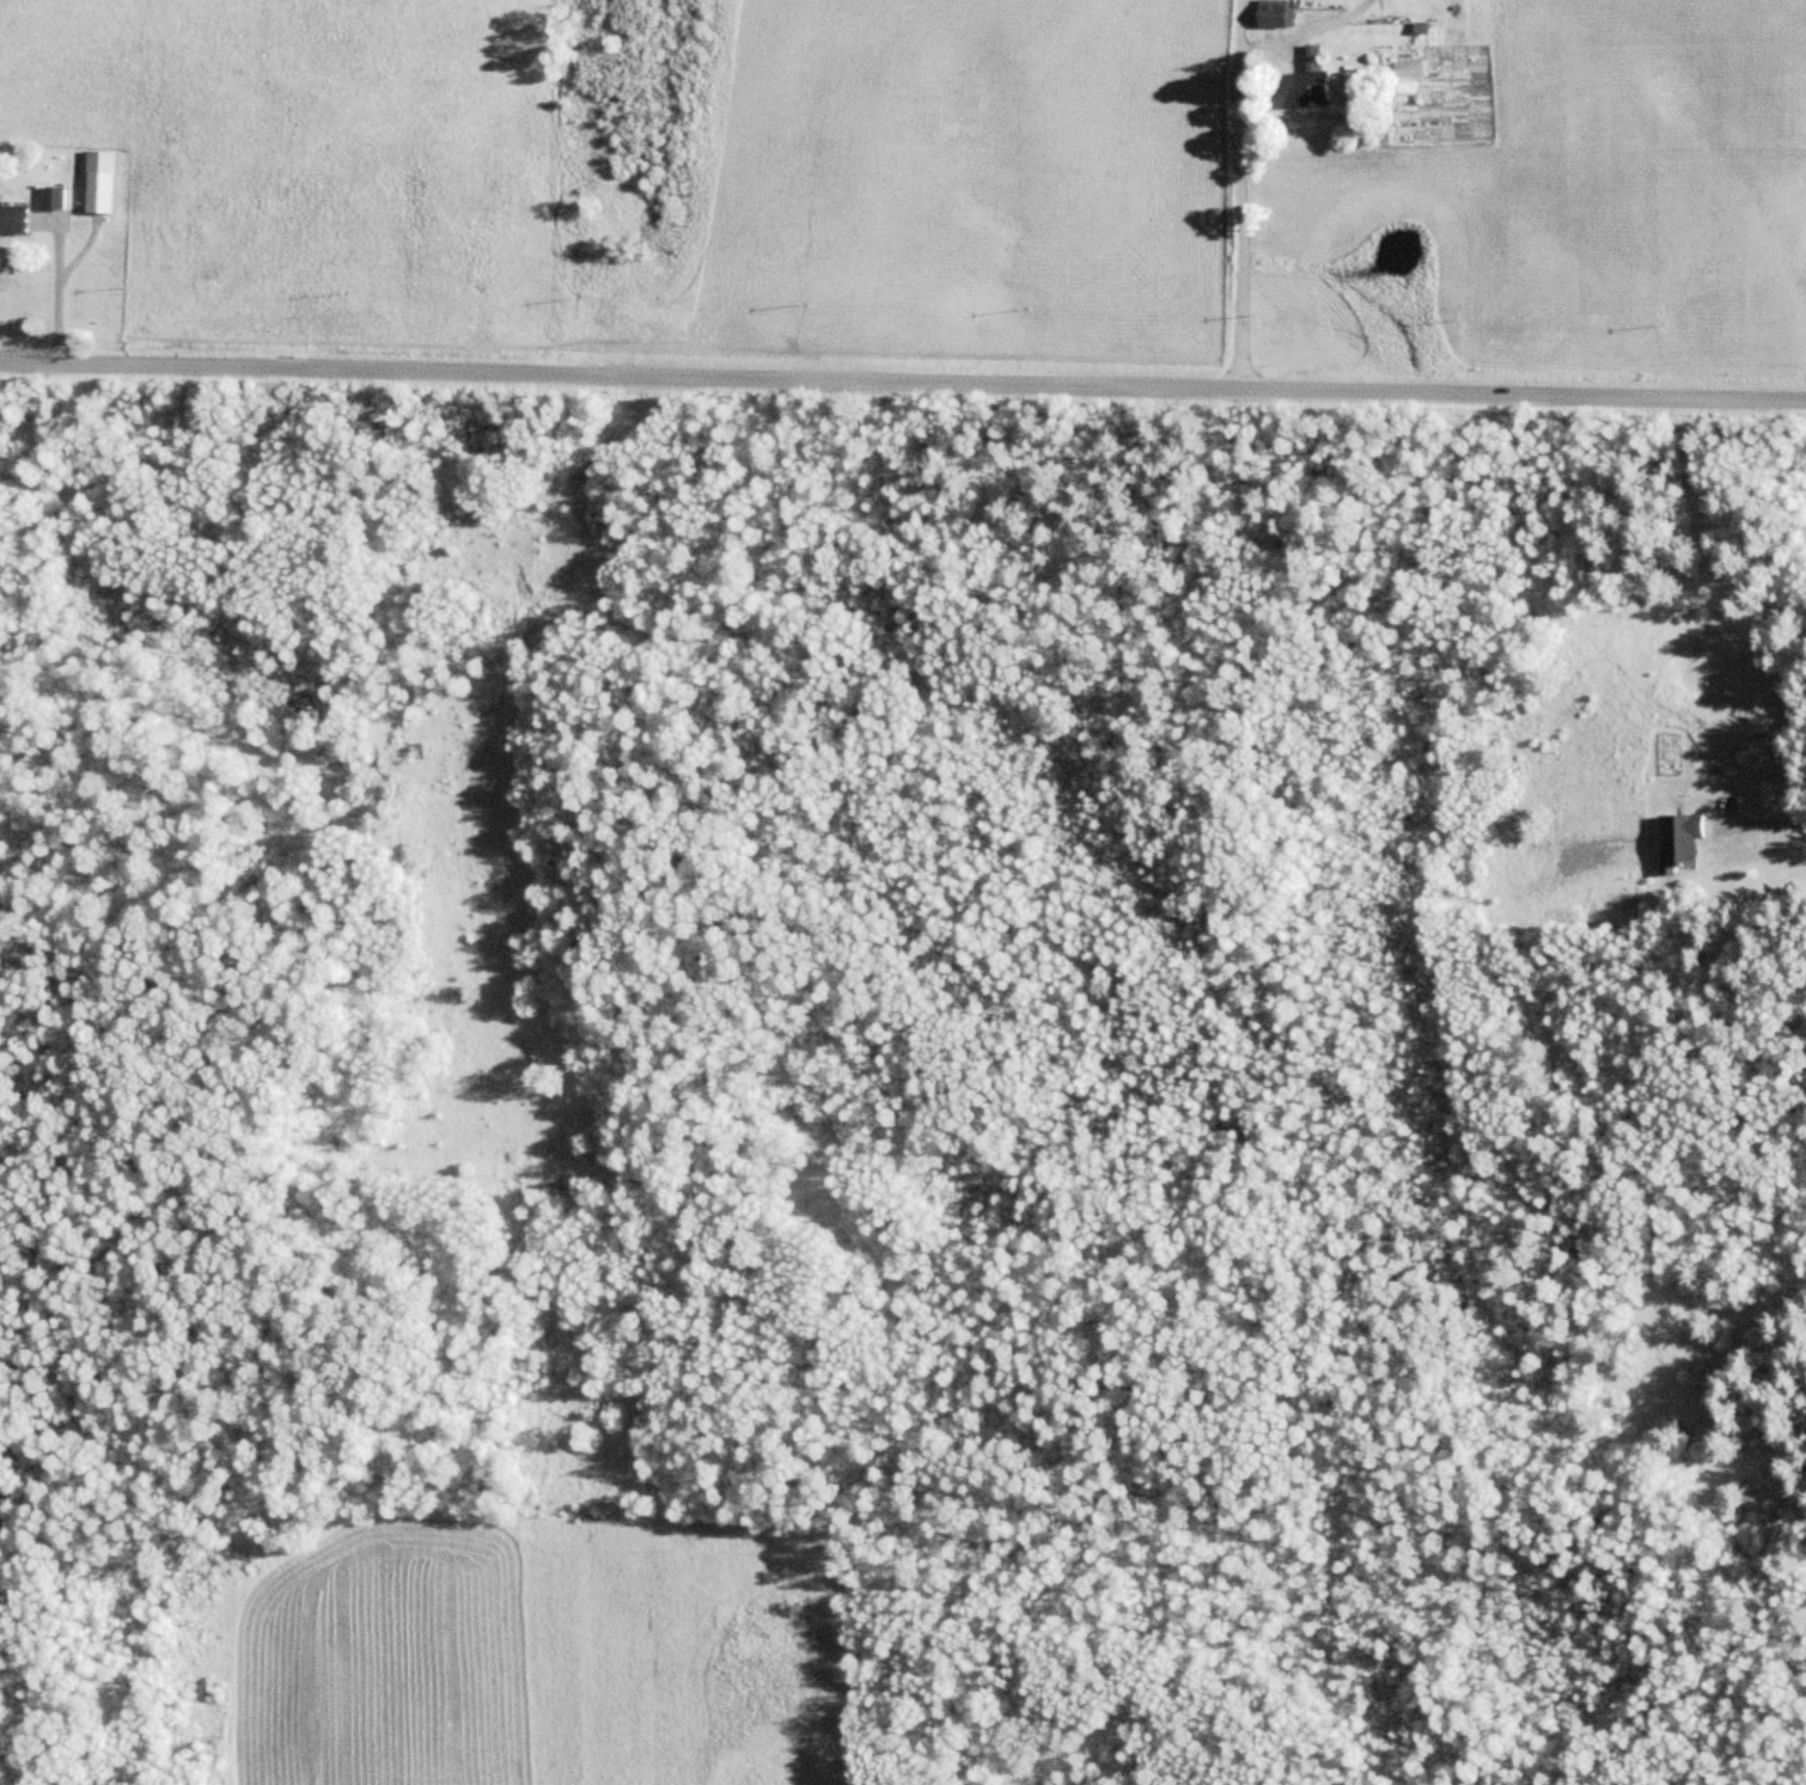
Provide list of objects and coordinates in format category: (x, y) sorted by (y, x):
building: (1277, 13)
building: (1411, 67)
building: (1319, 79)
building: (104, 182)
building: (55, 209)
building: (16, 220)
road: (903, 379)
building: (1777, 793)
building: (1684, 838)

